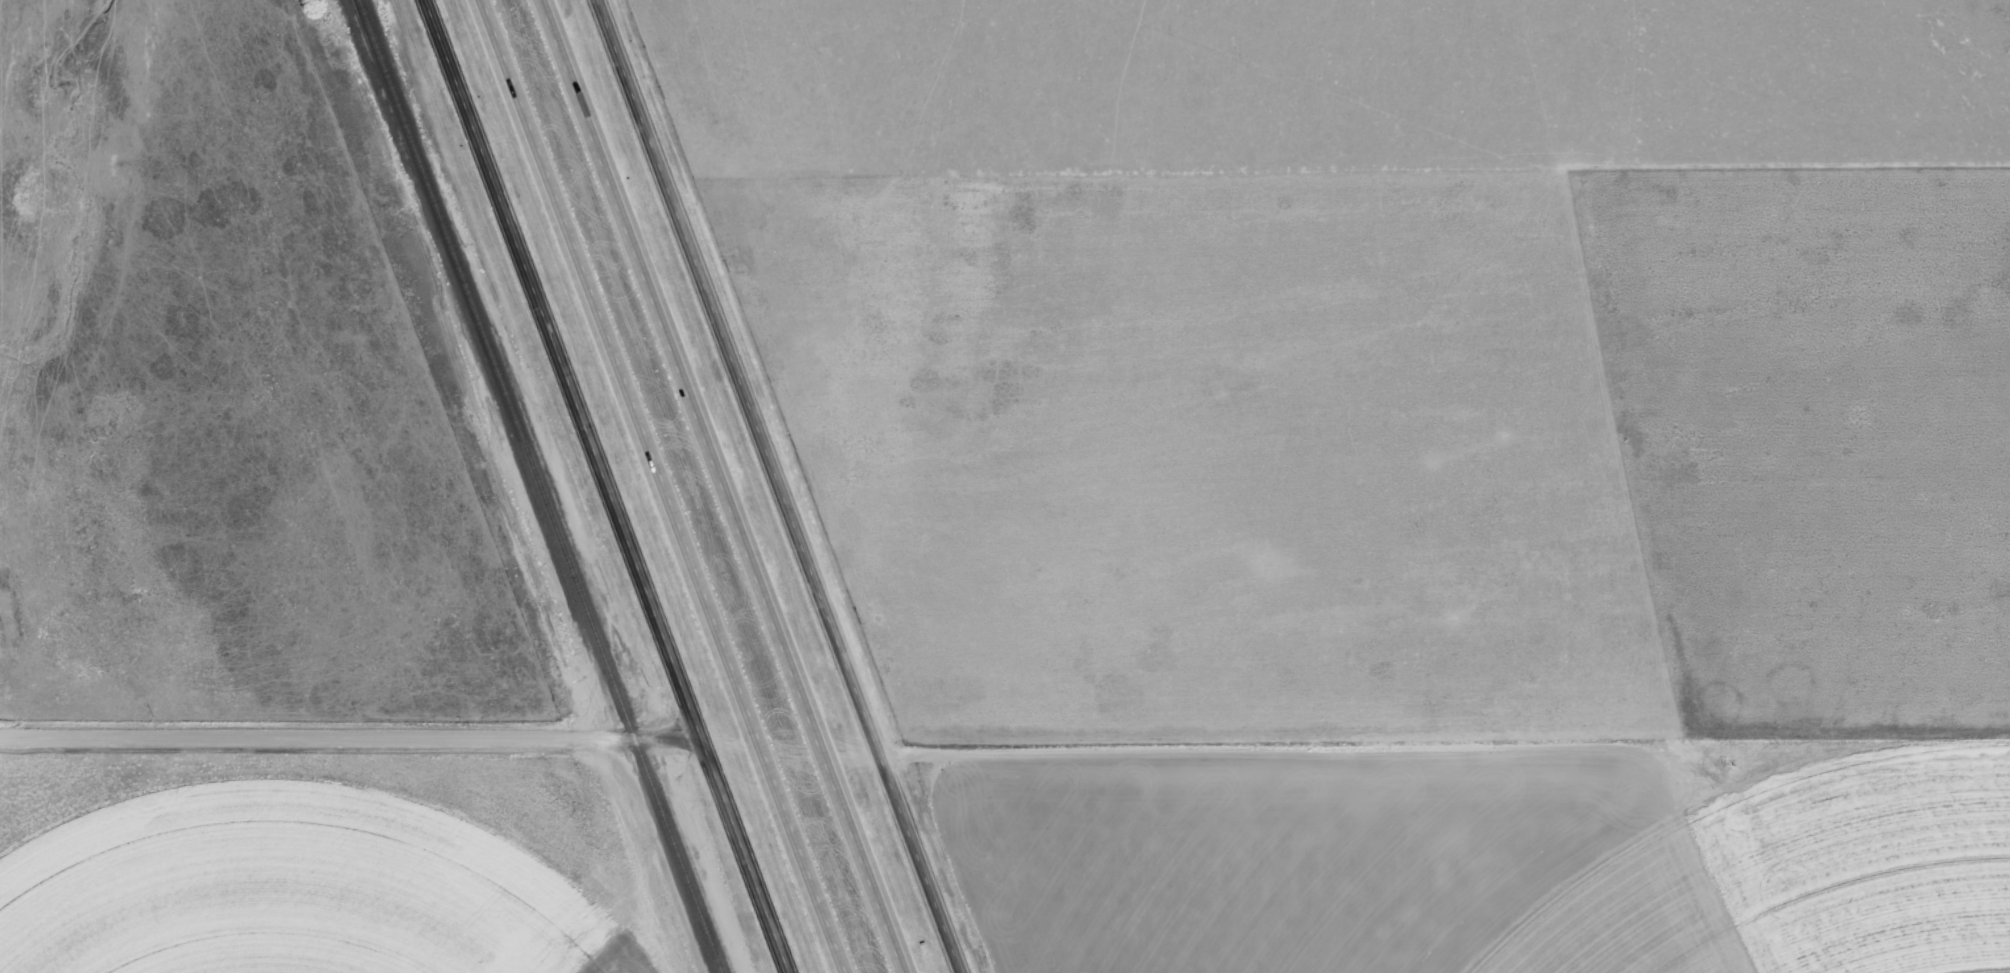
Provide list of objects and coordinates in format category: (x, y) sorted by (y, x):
railway: (542, 486)
road: (612, 486)
road: (663, 486)
road: (724, 486)
road: (782, 486)
road: (668, 732)
road: (1408, 734)
road: (316, 735)

